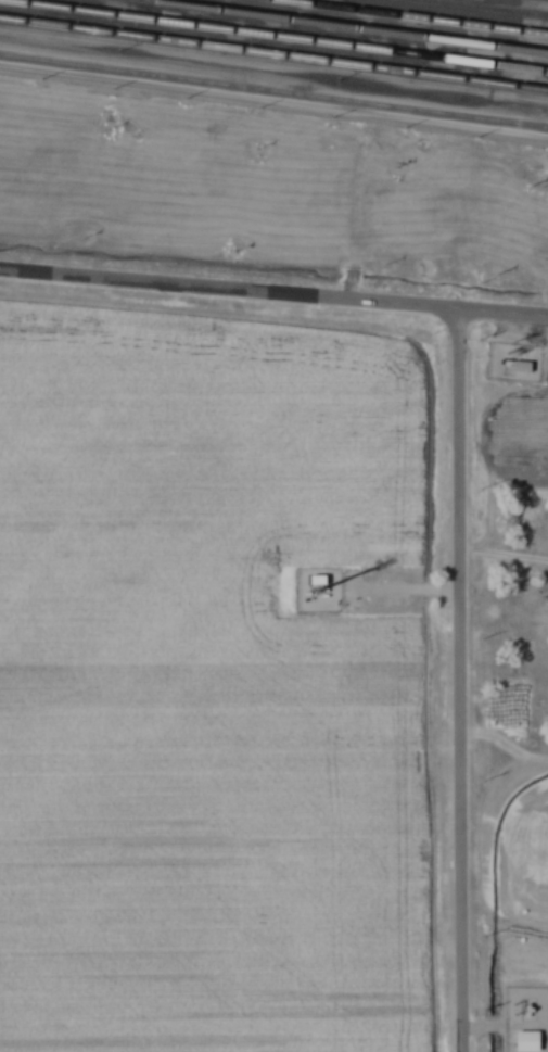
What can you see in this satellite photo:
railway: (485, 8)
railway: (421, 16)
railway: (348, 26)
railway: (273, 36)
railway: (273, 52)
road: (106, 81)
railway: (273, 90)
road: (273, 294)
crop: (518, 431)
road: (458, 682)
crop: (520, 828)
building: (532, 1041)

